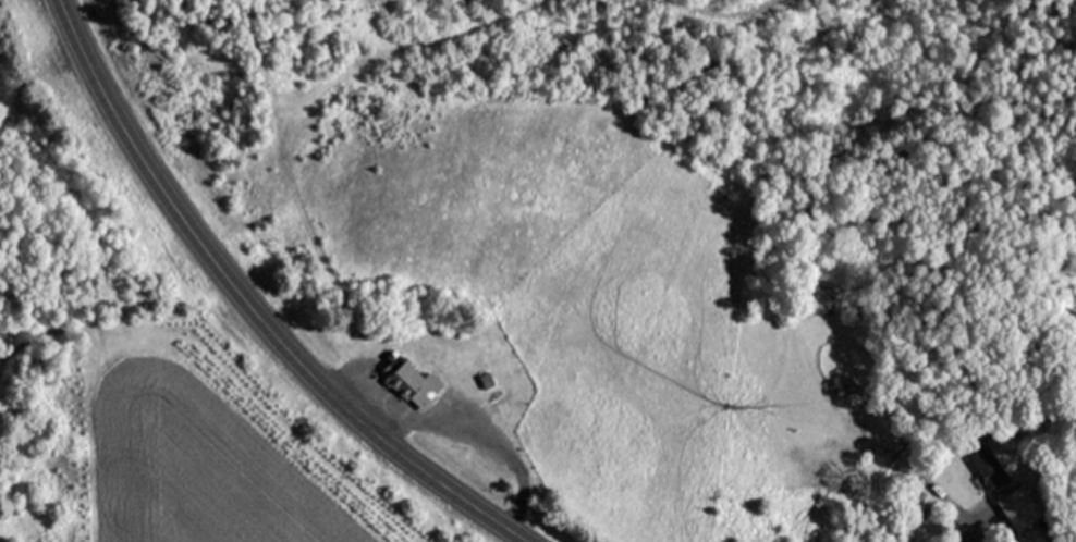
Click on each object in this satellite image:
building: (820, 296)
road: (250, 307)
building: (424, 389)
road: (458, 428)

